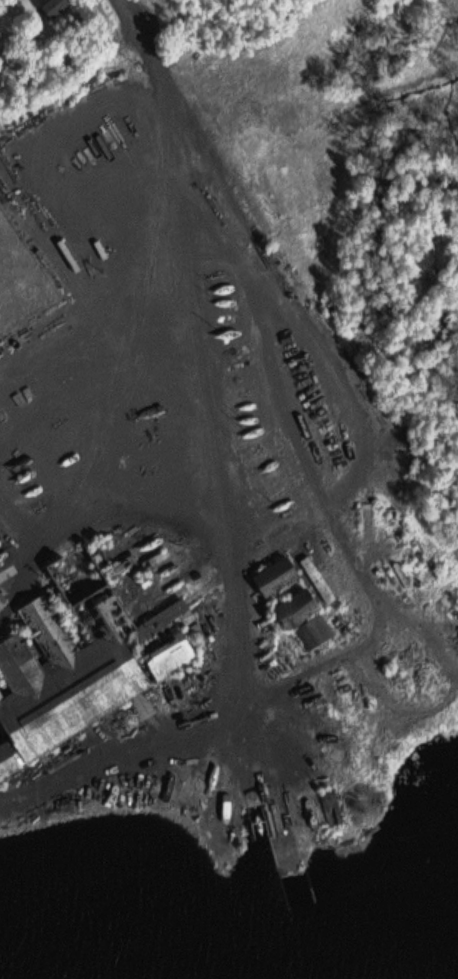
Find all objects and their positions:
building: (55, 8)
building: (72, 254)
road: (365, 392)
building: (281, 576)
building: (2, 604)
building: (295, 606)
building: (1, 612)
building: (318, 630)
building: (80, 665)

